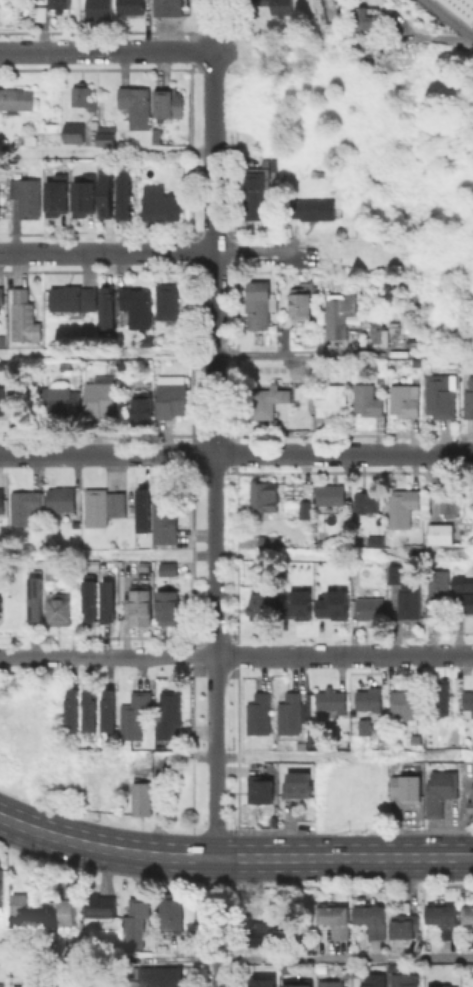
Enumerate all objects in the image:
building: (61, 5)
building: (279, 5)
building: (132, 6)
building: (101, 8)
building: (173, 8)
building: (461, 8)
building: (363, 18)
road: (448, 18)
road: (216, 25)
road: (439, 38)
road: (106, 50)
building: (84, 96)
building: (16, 99)
road: (213, 100)
building: (172, 102)
building: (136, 105)
building: (76, 132)
building: (106, 135)
building: (158, 137)
building: (31, 139)
road: (106, 151)
building: (104, 191)
building: (255, 194)
building: (54, 195)
building: (82, 196)
building: (27, 197)
building: (125, 198)
building: (161, 203)
building: (311, 209)
road: (107, 252)
road: (256, 252)
building: (0, 287)
building: (74, 298)
building: (1, 299)
building: (167, 301)
building: (300, 301)
building: (260, 305)
building: (110, 306)
building: (135, 306)
building: (339, 313)
building: (23, 316)
building: (376, 330)
building: (146, 340)
road: (203, 354)
building: (381, 379)
building: (102, 396)
building: (173, 396)
building: (442, 397)
building: (469, 397)
building: (332, 399)
building: (405, 399)
building: (367, 400)
building: (2, 401)
building: (265, 401)
building: (59, 402)
building: (143, 409)
road: (343, 452)
road: (41, 454)
road: (148, 454)
building: (331, 494)
building: (264, 495)
road: (214, 498)
building: (61, 499)
building: (366, 500)
building: (404, 501)
building: (1, 502)
building: (450, 503)
building: (101, 505)
building: (25, 506)
building: (303, 509)
building: (163, 517)
building: (444, 535)
building: (403, 538)
building: (271, 541)
building: (376, 541)
road: (277, 553)
building: (170, 565)
building: (144, 568)
building: (49, 570)
building: (395, 573)
building: (461, 582)
building: (437, 589)
building: (37, 600)
building: (93, 601)
building: (111, 602)
building: (294, 603)
building: (331, 603)
building: (468, 603)
building: (409, 604)
building: (141, 605)
building: (168, 606)
building: (259, 606)
building: (0, 607)
building: (370, 607)
building: (59, 608)
road: (451, 654)
road: (283, 655)
road: (389, 655)
road: (41, 656)
road: (149, 656)
building: (444, 698)
building: (369, 699)
building: (468, 699)
building: (332, 700)
building: (406, 705)
building: (74, 712)
building: (112, 712)
building: (93, 713)
building: (169, 713)
building: (259, 713)
building: (289, 713)
building: (135, 714)
building: (364, 725)
building: (416, 738)
building: (126, 744)
road: (236, 748)
road: (344, 755)
building: (299, 785)
building: (409, 788)
building: (263, 792)
building: (443, 792)
building: (142, 798)
building: (470, 806)
road: (350, 826)
road: (429, 828)
road: (226, 829)
road: (275, 829)
road: (84, 832)
road: (223, 845)
road: (294, 857)
road: (352, 857)
road: (406, 857)
road: (448, 857)
road: (134, 864)
building: (1, 886)
building: (27, 904)
building: (100, 904)
building: (68, 907)
building: (171, 911)
building: (470, 918)
building: (136, 922)
building: (338, 922)
building: (375, 922)
building: (448, 923)
road: (216, 928)
building: (407, 928)
building: (262, 934)
building: (163, 945)
road: (344, 958)
building: (33, 971)
building: (159, 978)
building: (376, 981)
building: (406, 981)
building: (264, 982)
building: (299, 983)
building: (332, 985)
building: (24, 986)
building: (441, 986)

